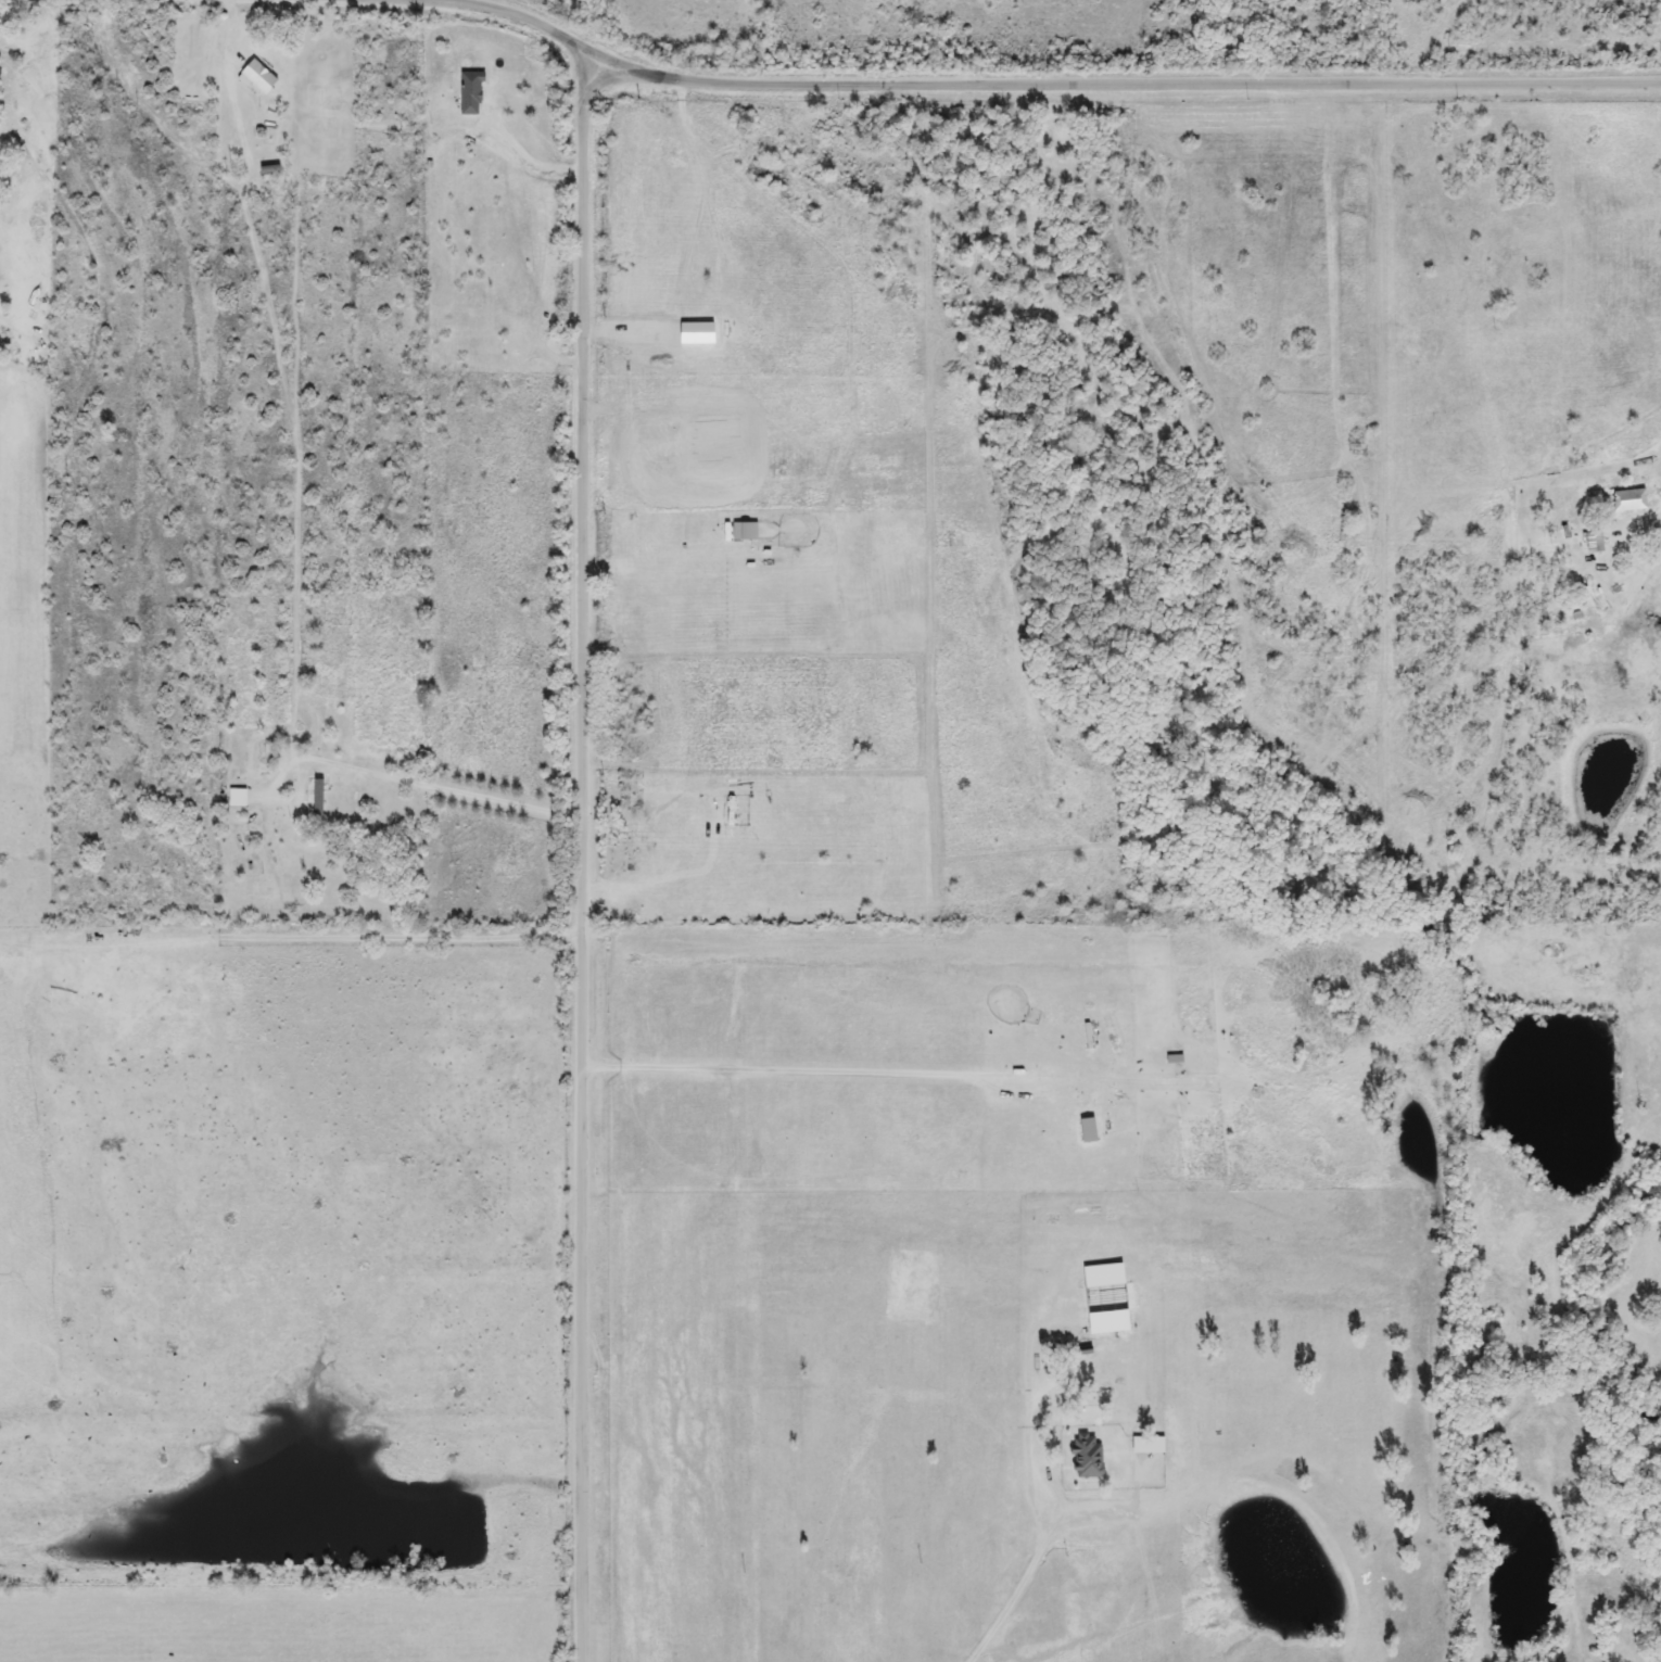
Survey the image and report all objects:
building: (256, 76)
road: (578, 78)
road: (1038, 83)
building: (1616, 500)
road: (660, 563)
road: (423, 784)
building: (234, 798)
building: (316, 798)
road: (584, 849)
road: (661, 878)
airport: (1026, 1297)
building: (1083, 1456)

